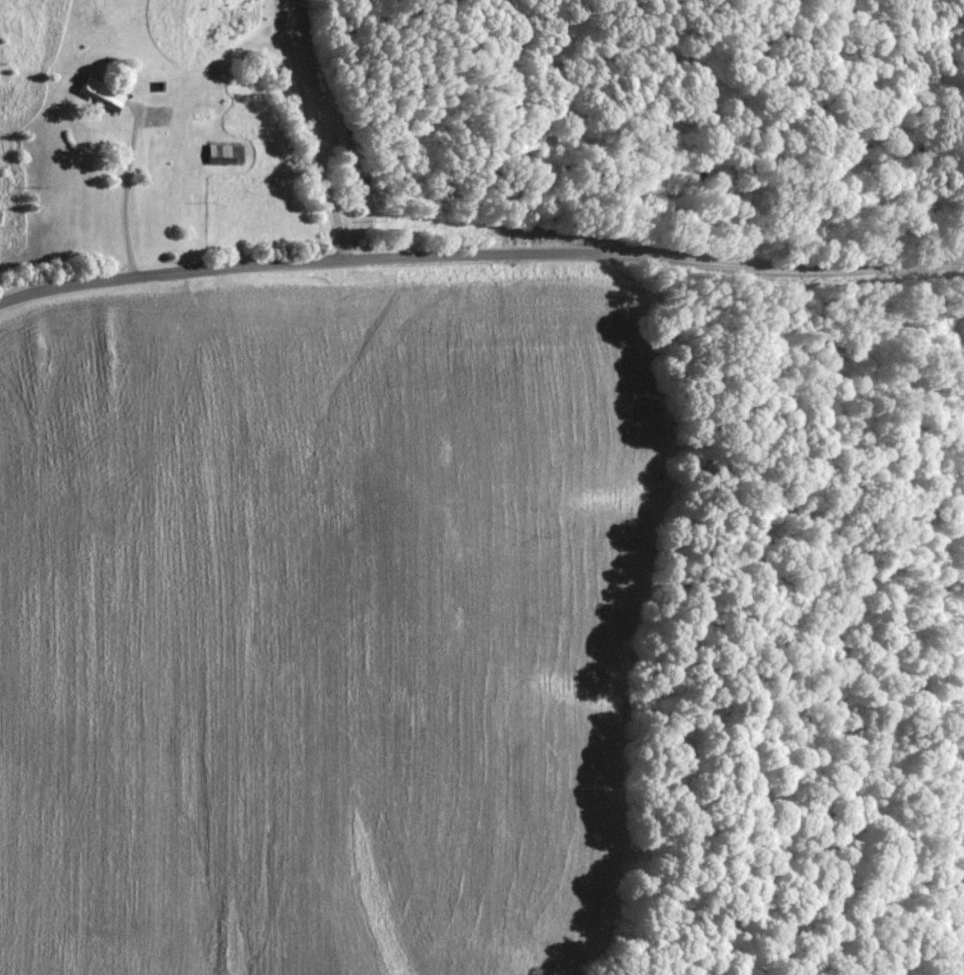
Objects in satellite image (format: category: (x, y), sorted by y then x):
building: (102, 93)
building: (224, 154)
road: (480, 253)

